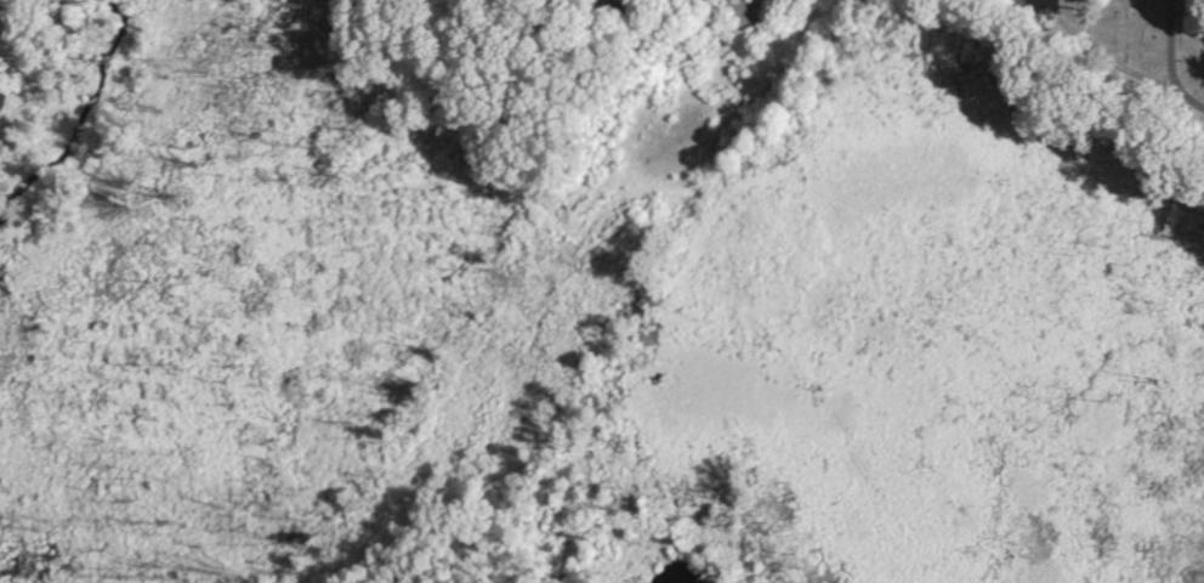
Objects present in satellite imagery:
park: (1134, 56)

